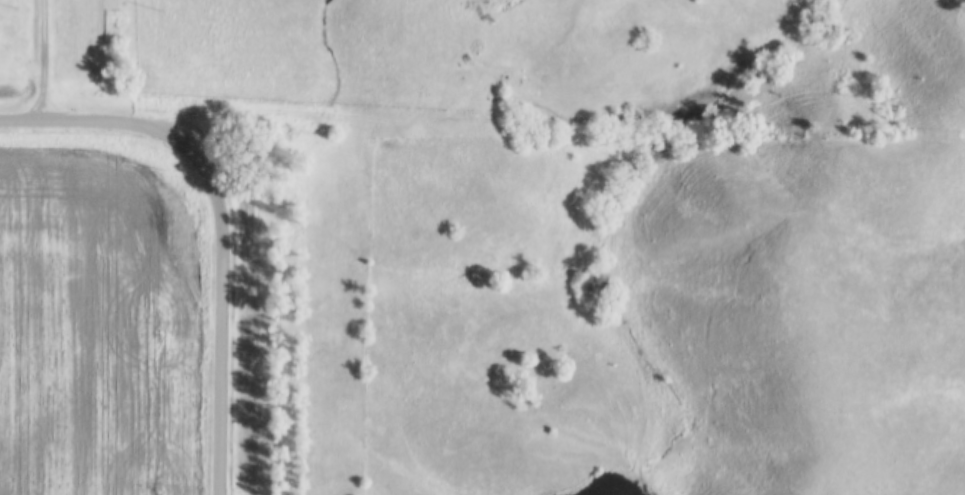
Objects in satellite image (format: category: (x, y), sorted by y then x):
road: (80, 119)
road: (219, 300)

